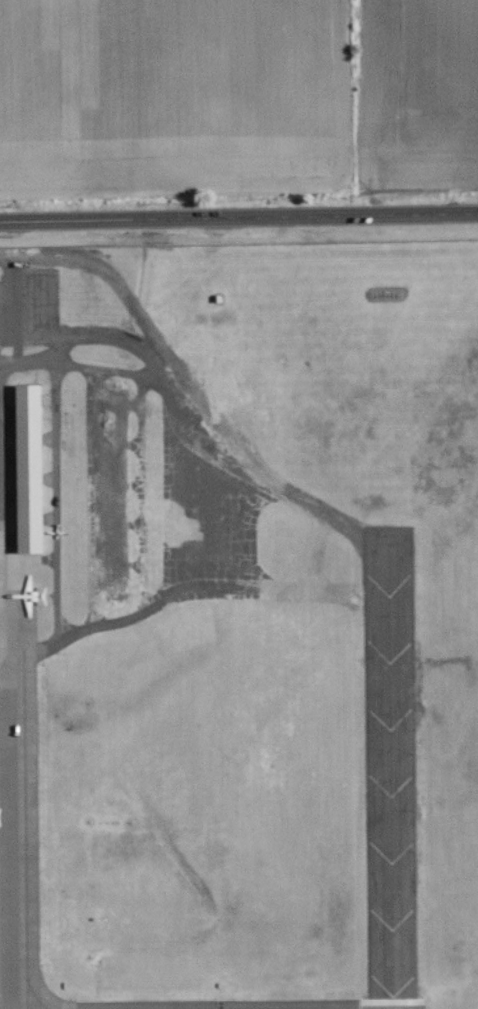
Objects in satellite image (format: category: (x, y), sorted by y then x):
road: (239, 226)
building: (29, 468)
airport taxiway: (257, 476)
airport taxiway: (191, 591)
airport: (239, 626)
airport taxiway: (392, 768)

